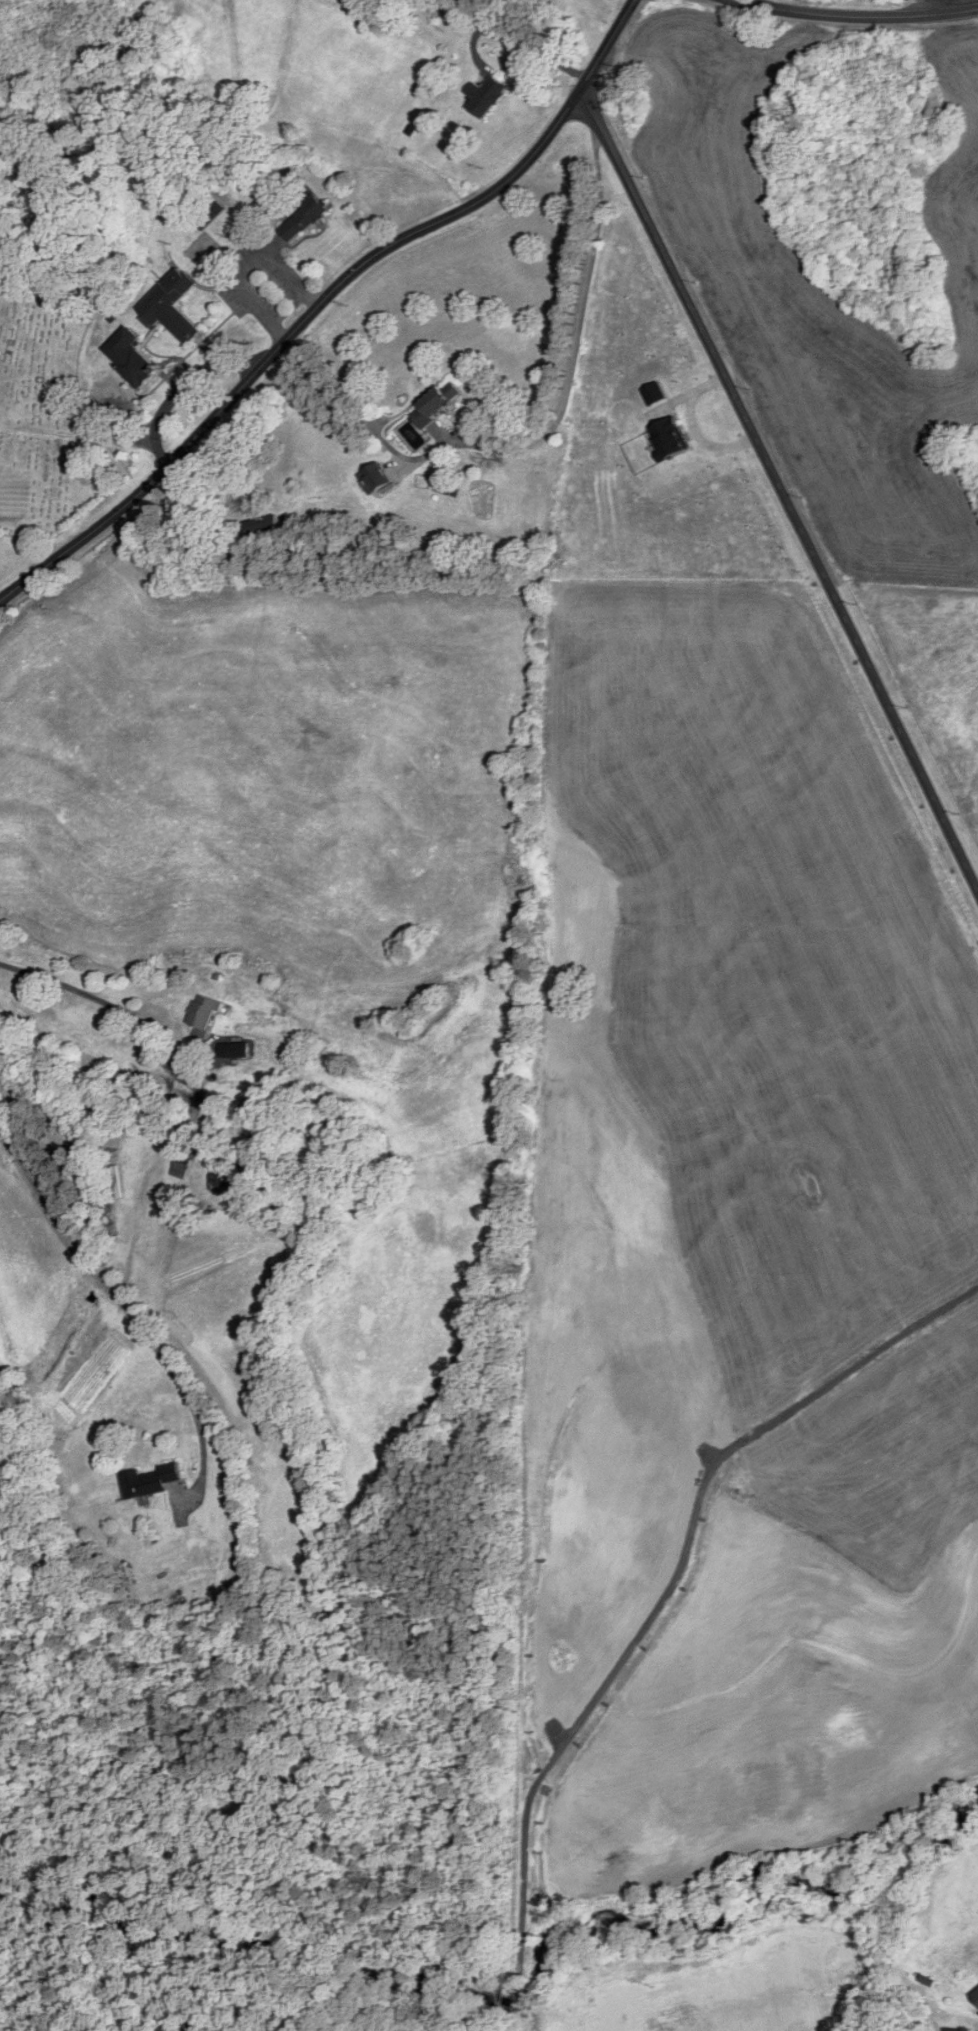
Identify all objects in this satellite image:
road: (858, 17)
road: (519, 44)
building: (485, 97)
building: (304, 219)
road: (321, 302)
building: (173, 306)
road: (297, 350)
building: (133, 358)
road: (179, 387)
building: (437, 403)
park: (47, 414)
road: (780, 493)
building: (542, 547)
road: (85, 996)
building: (203, 1016)
building: (181, 1166)
building: (220, 1179)
road: (125, 1307)
building: (150, 1481)
building: (977, 1996)
building: (961, 2030)

